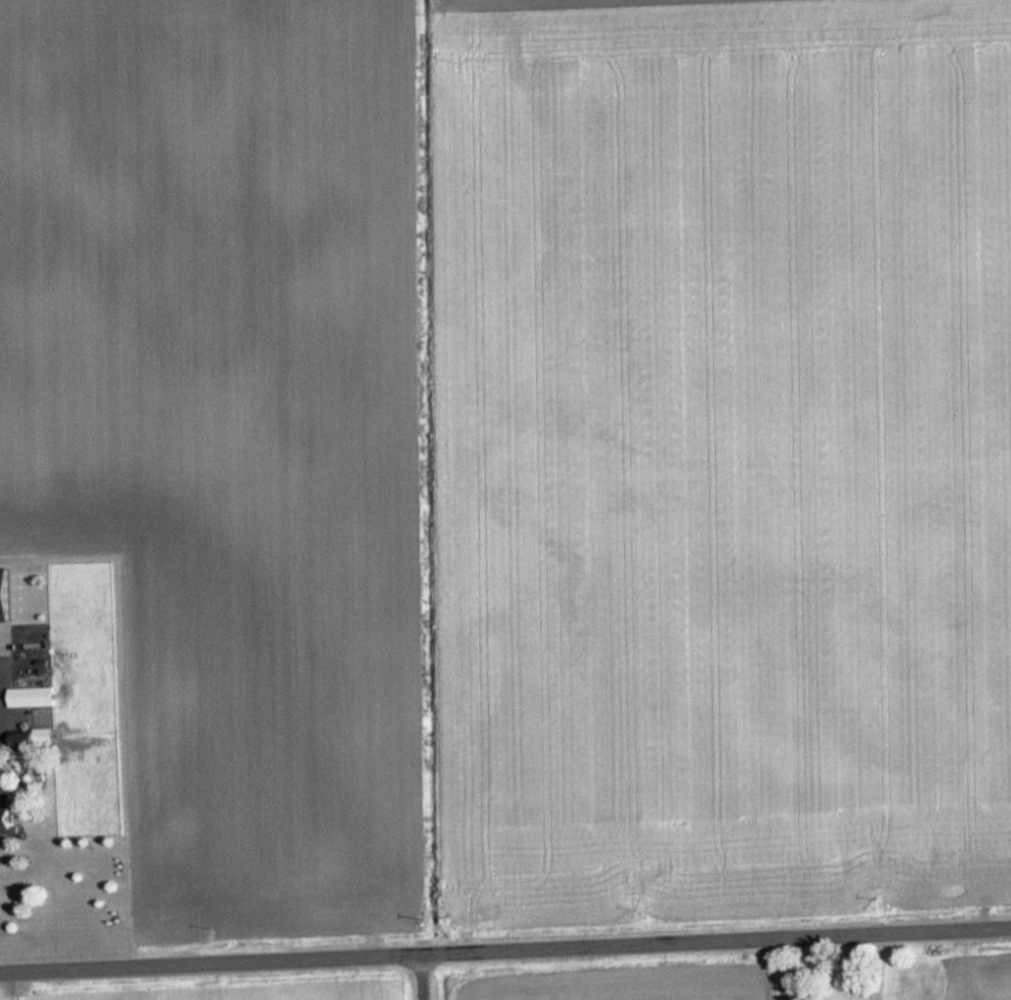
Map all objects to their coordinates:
building: (7, 609)
building: (34, 697)
building: (26, 738)
building: (10, 821)
road: (505, 948)
road: (428, 976)

